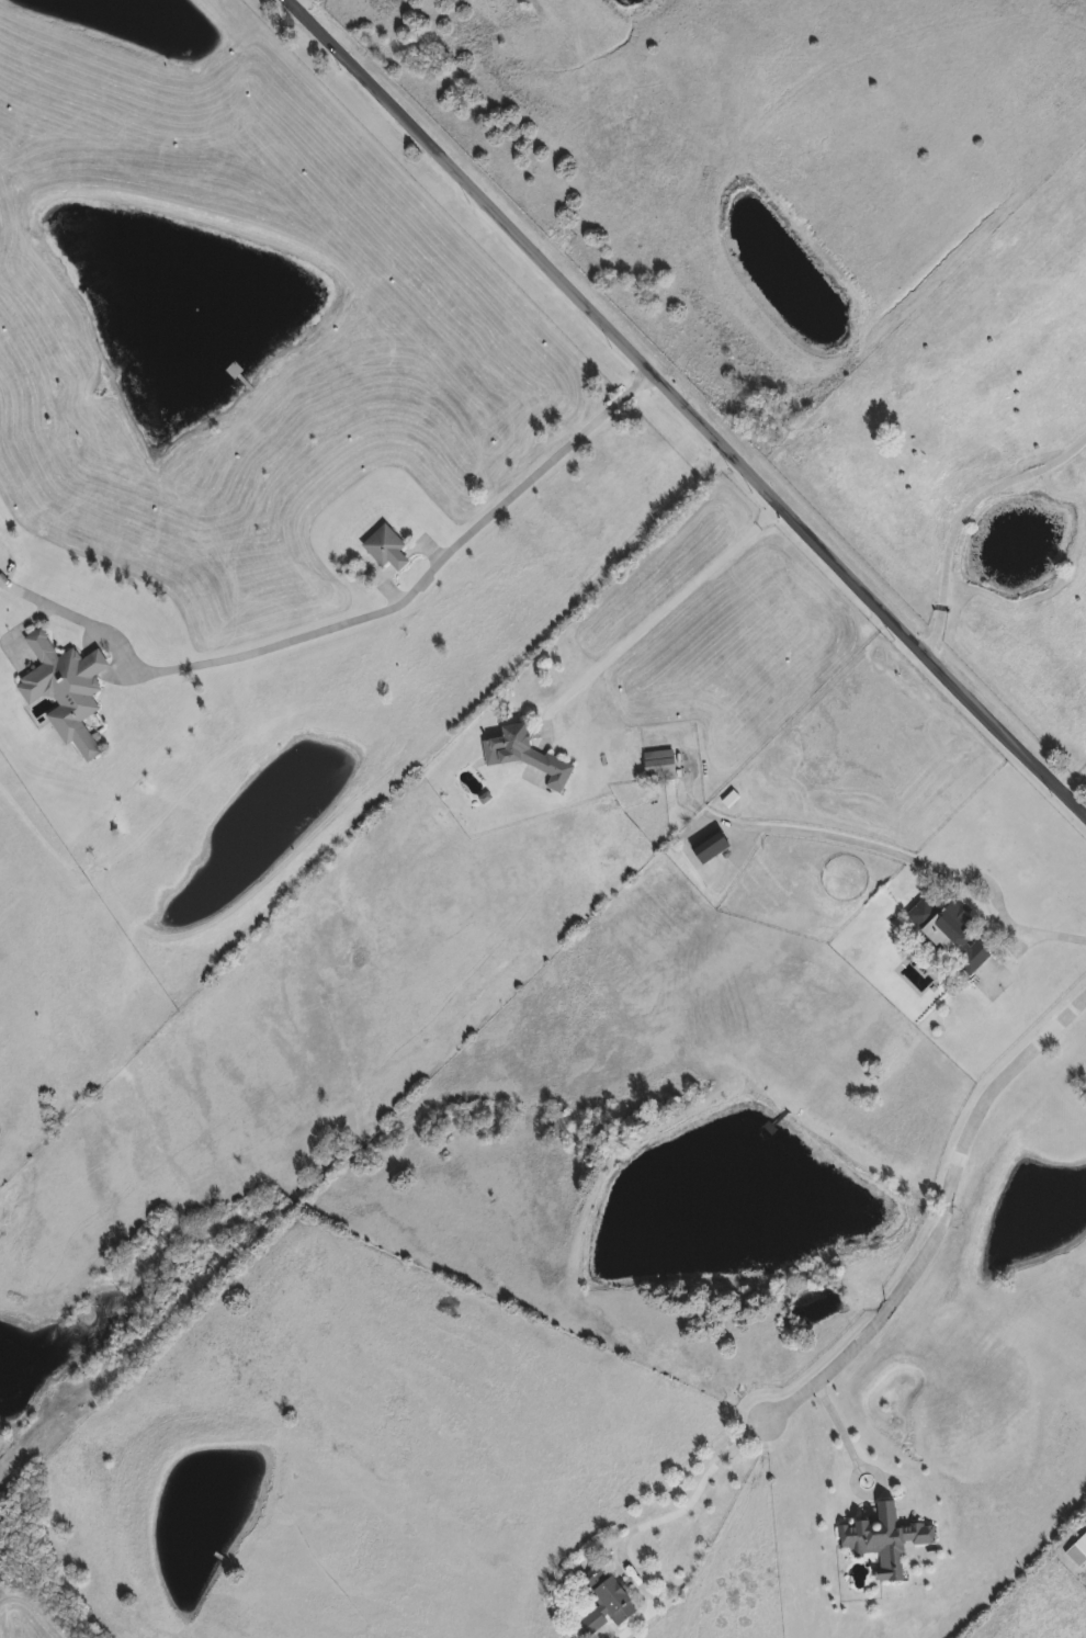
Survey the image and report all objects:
road: (294, 3)
road: (686, 405)
road: (963, 515)
building: (387, 549)
road: (352, 614)
road: (657, 614)
building: (66, 691)
building: (527, 757)
building: (660, 767)
building: (728, 801)
building: (711, 847)
road: (903, 857)
building: (951, 935)
road: (1033, 940)
road: (938, 1208)
road: (841, 1430)
road: (686, 1505)
building: (885, 1541)
building: (1078, 1552)
building: (608, 1604)

